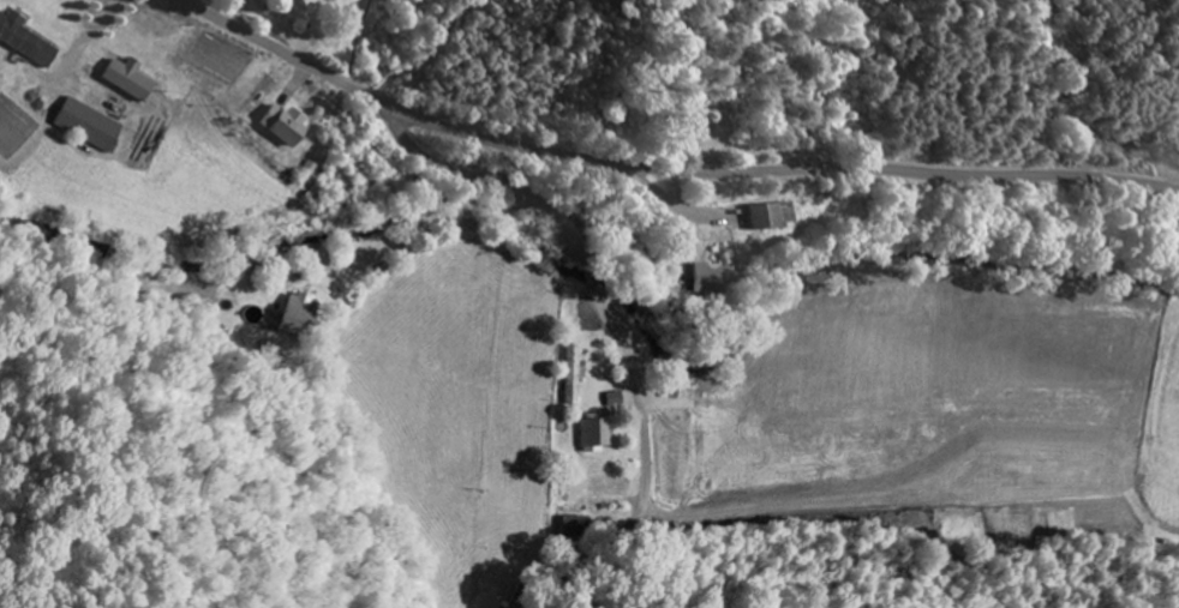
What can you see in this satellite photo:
building: (310, 1)
building: (24, 40)
building: (125, 78)
building: (280, 124)
building: (85, 125)
road: (788, 149)
road: (665, 168)
building: (764, 215)
building: (699, 278)
road: (605, 312)
building: (298, 313)
building: (571, 373)
road: (345, 389)
building: (614, 399)
building: (594, 432)
building: (1012, 482)

